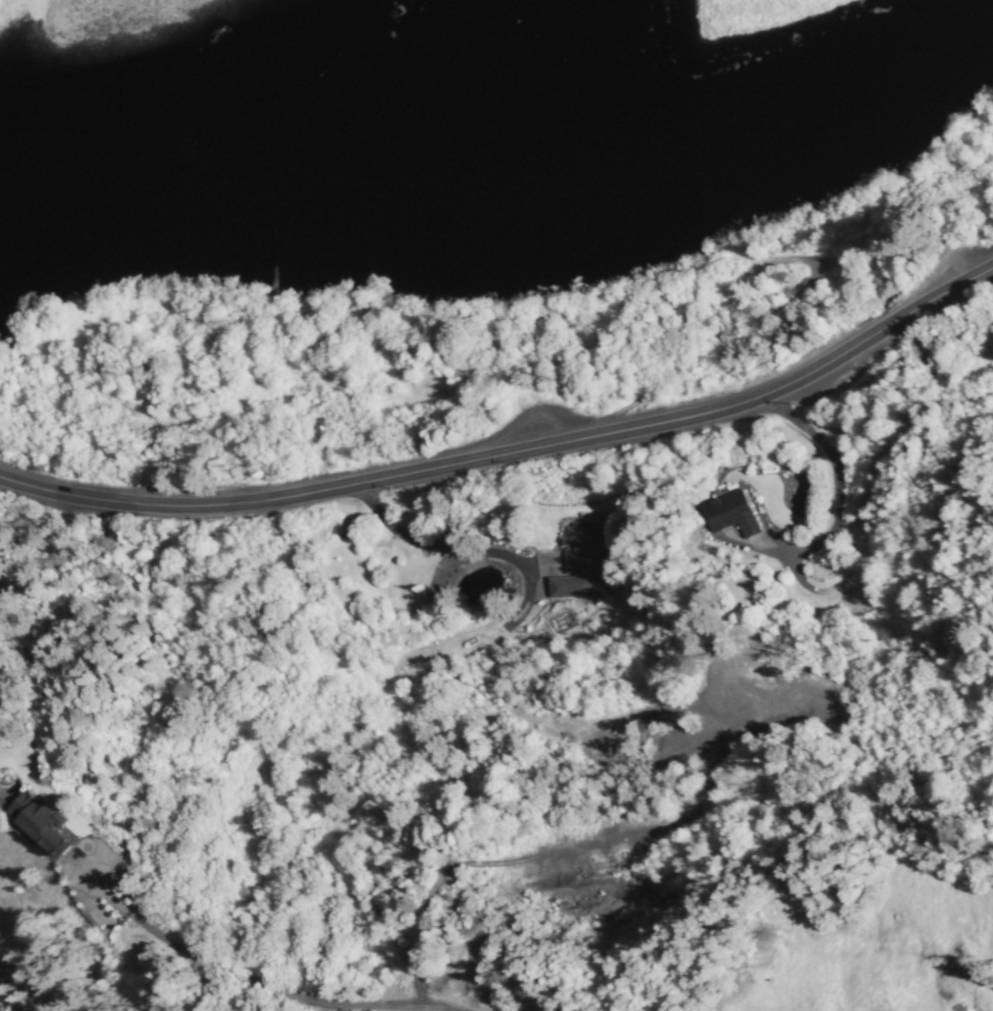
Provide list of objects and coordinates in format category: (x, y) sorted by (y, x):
road: (512, 454)
building: (730, 513)
building: (583, 548)
building: (569, 586)
road: (386, 704)
building: (39, 822)

